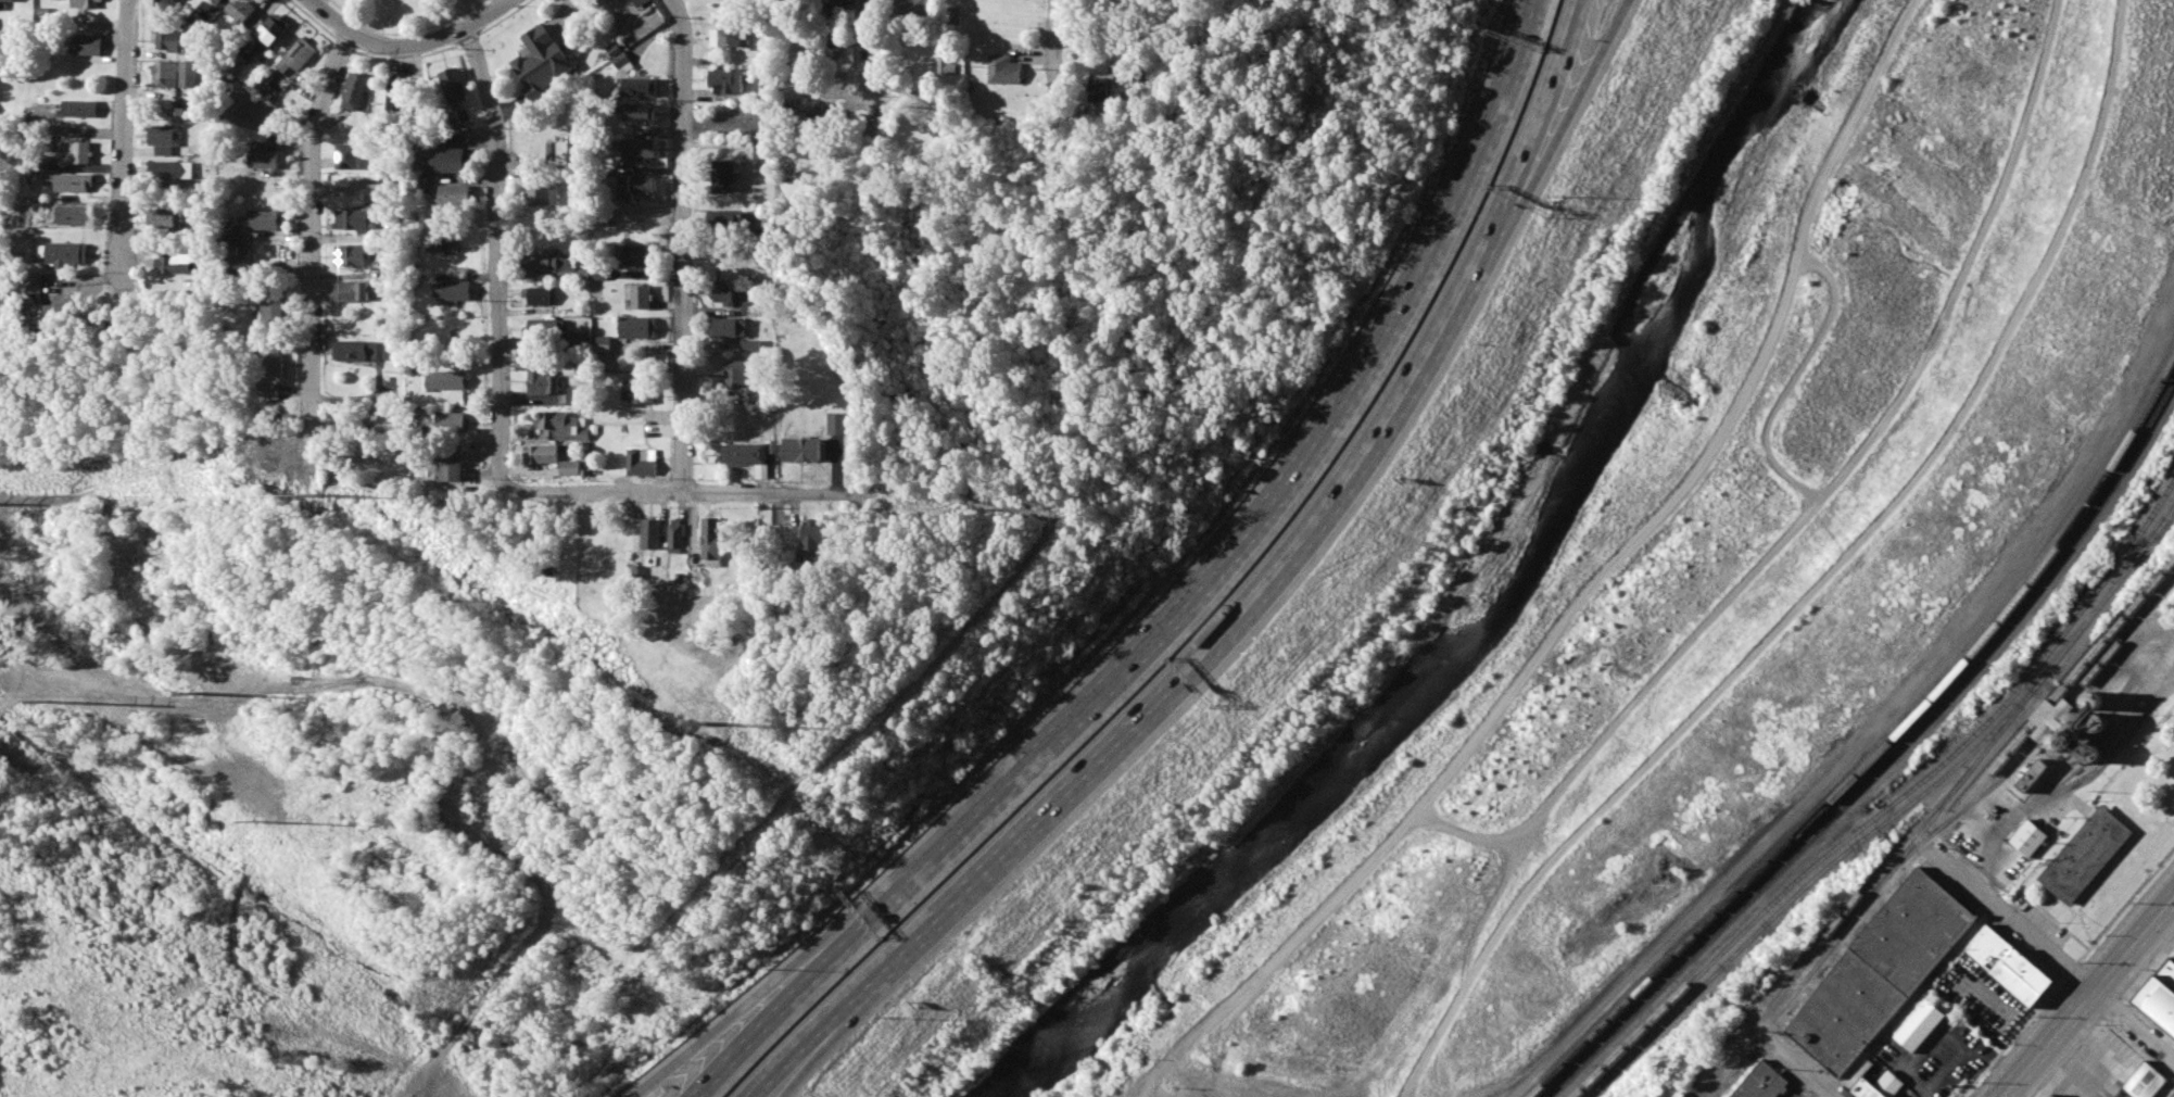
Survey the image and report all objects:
building: (7, 0)
building: (218, 1)
building: (640, 2)
building: (85, 3)
building: (169, 3)
building: (832, 7)
building: (911, 8)
building: (241, 10)
building: (952, 15)
road: (1621, 22)
building: (197, 23)
building: (270, 34)
building: (724, 37)
building: (168, 39)
road: (412, 41)
building: (86, 46)
road: (1056, 51)
building: (298, 55)
building: (619, 58)
building: (542, 62)
building: (945, 66)
building: (1003, 70)
road: (872, 71)
building: (175, 73)
building: (725, 80)
building: (453, 85)
building: (637, 87)
building: (1098, 89)
building: (354, 91)
building: (396, 97)
road: (1543, 102)
building: (81, 109)
building: (637, 112)
road: (1556, 123)
building: (166, 138)
building: (637, 147)
road: (131, 150)
building: (761, 150)
building: (81, 151)
building: (560, 153)
building: (346, 155)
building: (265, 156)
building: (451, 160)
building: (173, 172)
building: (724, 176)
building: (77, 182)
building: (637, 185)
building: (454, 196)
building: (542, 196)
building: (77, 215)
building: (169, 217)
building: (726, 218)
building: (264, 219)
building: (355, 219)
road: (686, 239)
road: (316, 242)
building: (445, 243)
road: (503, 252)
building: (71, 253)
building: (353, 254)
building: (243, 255)
building: (637, 255)
building: (180, 263)
building: (549, 263)
building: (388, 269)
building: (40, 282)
building: (453, 290)
building: (353, 291)
building: (723, 294)
building: (538, 295)
building: (641, 297)
building: (274, 302)
building: (750, 310)
building: (62, 312)
building: (545, 326)
building: (637, 327)
building: (729, 327)
building: (601, 343)
building: (750, 344)
building: (358, 350)
building: (274, 364)
building: (740, 374)
building: (446, 380)
building: (541, 381)
building: (641, 390)
building: (271, 392)
building: (574, 395)
road: (976, 418)
building: (445, 421)
building: (837, 424)
building: (559, 426)
road: (872, 433)
building: (800, 450)
building: (541, 453)
building: (744, 453)
building: (452, 461)
building: (641, 462)
building: (569, 468)
road: (743, 481)
road: (54, 494)
road: (1264, 524)
building: (650, 533)
building: (812, 534)
building: (675, 535)
building: (710, 538)
river: (1493, 604)
road: (1204, 643)
road: (2147, 670)
building: (2091, 702)
building: (2093, 726)
road: (1867, 729)
railway: (1880, 752)
building: (2087, 755)
railway: (1887, 760)
building: (2030, 777)
railway: (1893, 804)
railway: (1897, 814)
building: (2028, 836)
building: (2085, 857)
road: (2019, 924)
building: (2009, 968)
building: (1879, 972)
building: (2159, 997)
road: (2094, 1003)
road: (754, 1013)
road: (774, 1023)
building: (1920, 1024)
road: (2137, 1026)
road: (786, 1057)
road: (799, 1057)
road: (1812, 1069)
building: (2144, 1081)
building: (1761, 1083)
road: (648, 1087)
road: (2165, 1087)
building: (1865, 1090)
building: (2051, 1095)

